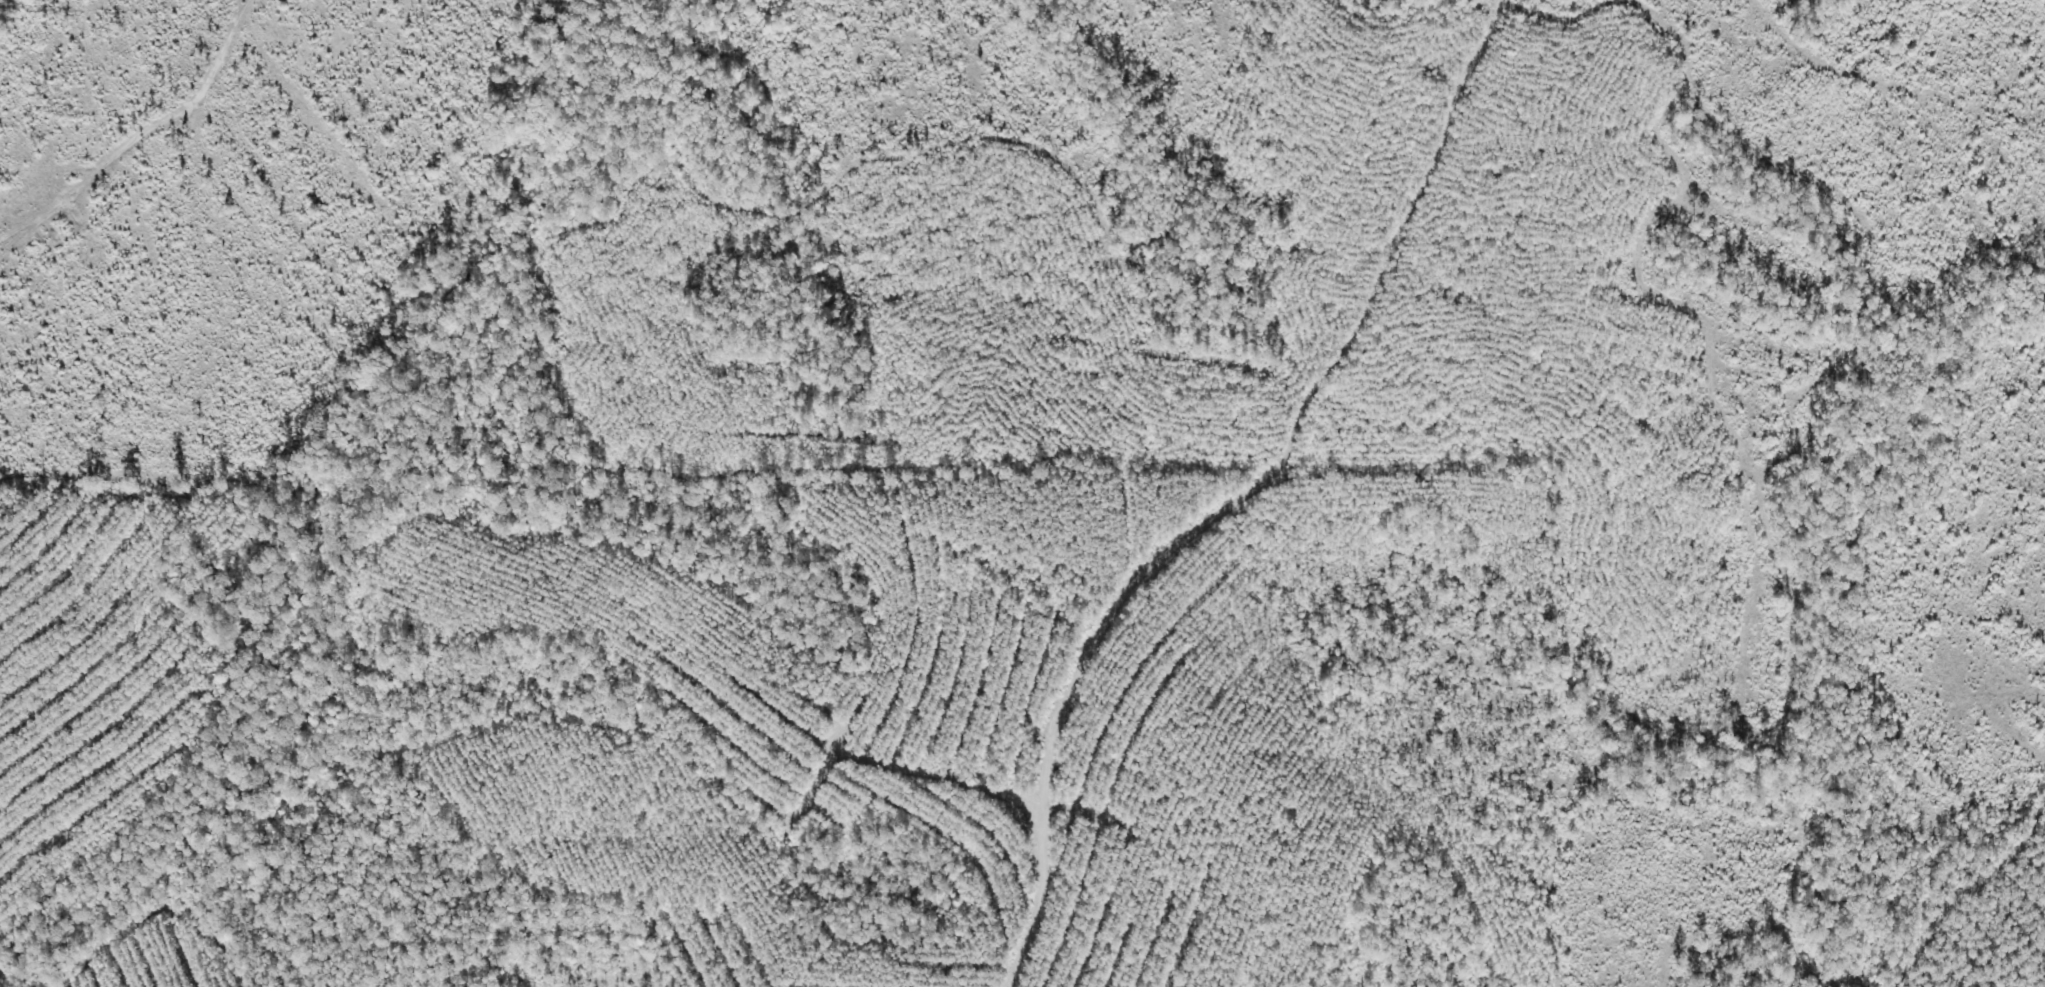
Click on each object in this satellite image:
road: (1668, 237)
road: (1048, 676)

